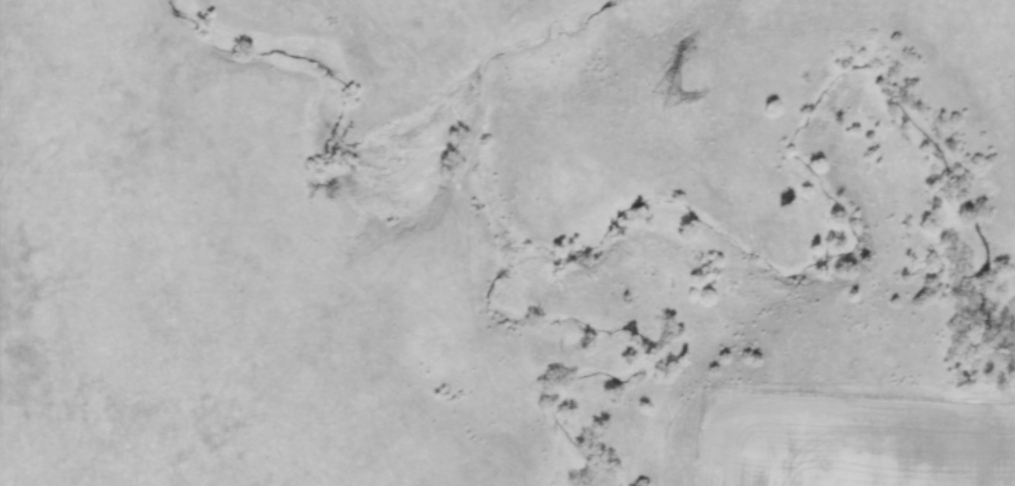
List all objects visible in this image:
power tower: (664, 94)

